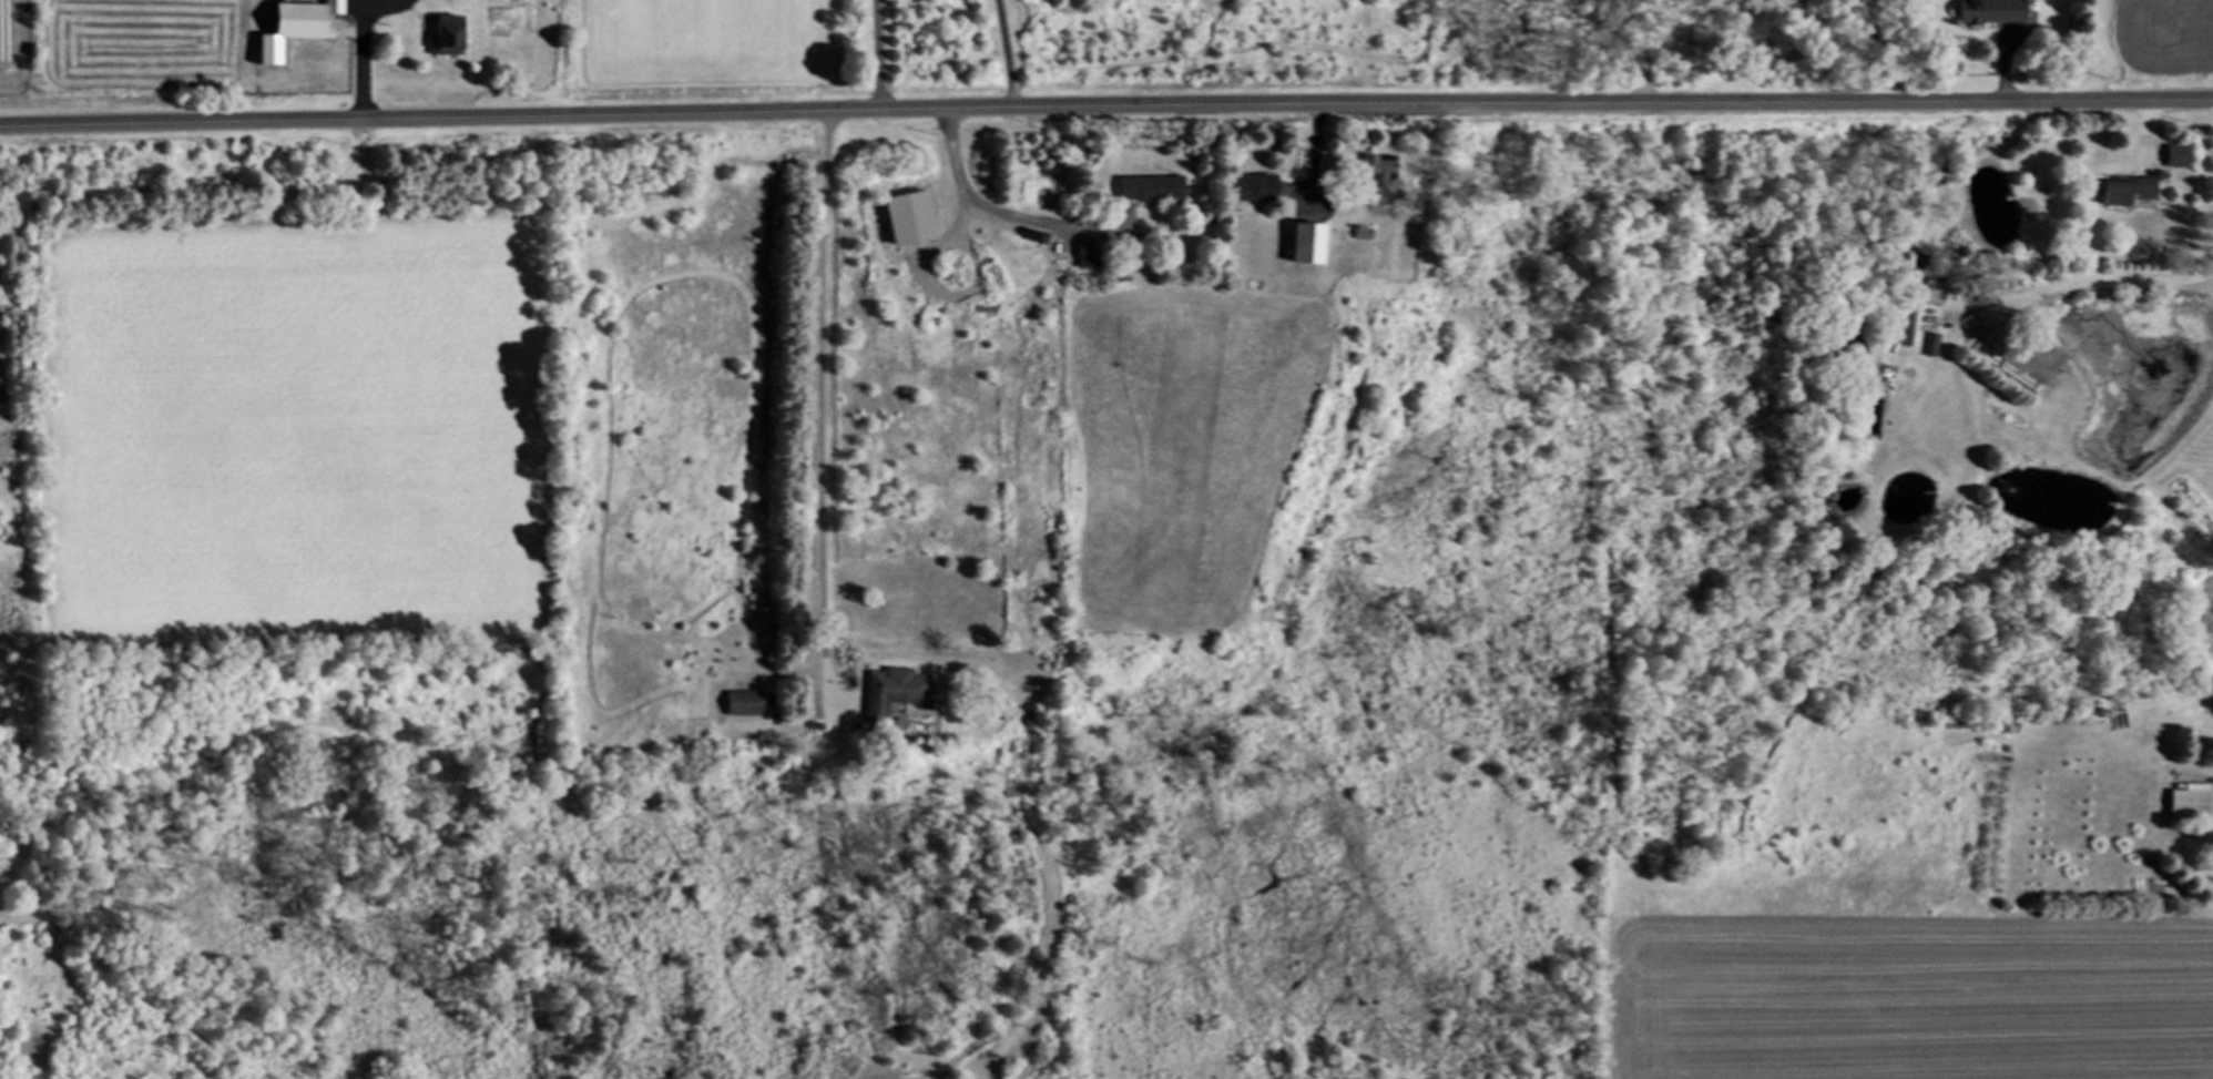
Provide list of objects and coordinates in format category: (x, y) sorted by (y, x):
building: (1988, 11)
building: (289, 28)
building: (443, 31)
road: (1006, 53)
road: (878, 54)
road: (1105, 108)
building: (2173, 154)
building: (1376, 169)
building: (1148, 187)
building: (1251, 187)
building: (2123, 190)
building: (1304, 243)
building: (1085, 253)
building: (1931, 291)
building: (1934, 344)
building: (894, 691)
building: (744, 703)
building: (2192, 801)

